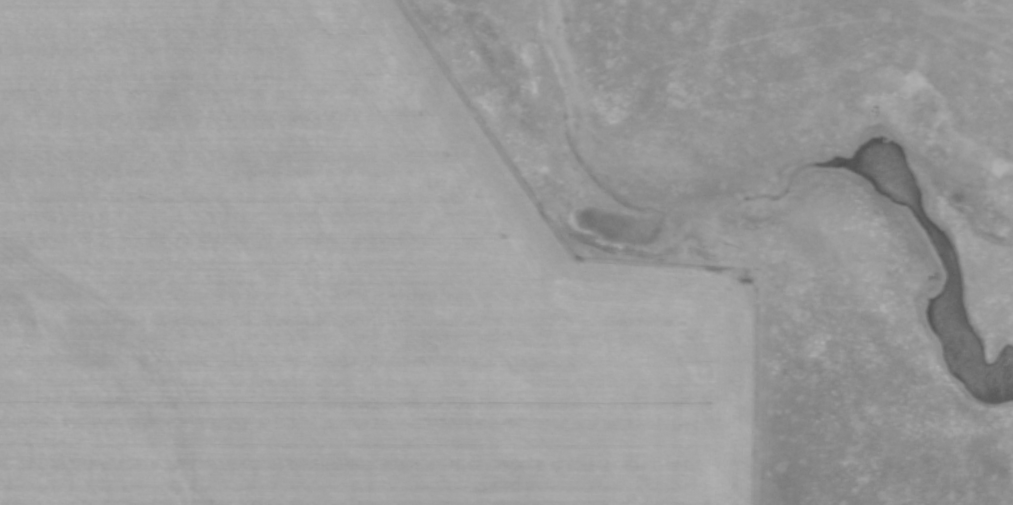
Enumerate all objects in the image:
crop: (323, 282)

